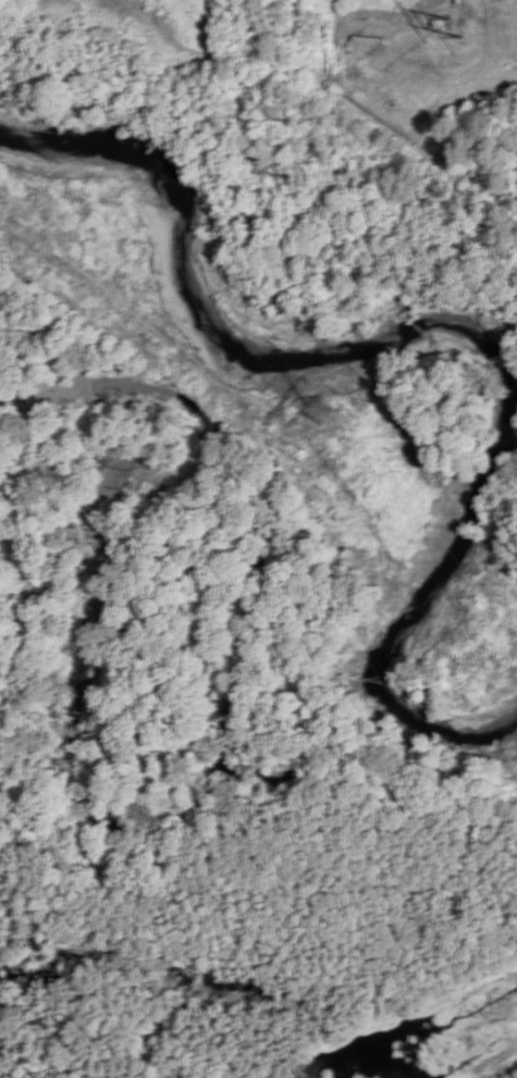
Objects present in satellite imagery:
power tower: (453, 27)
power tower: (282, 146)
power tower: (334, 406)

